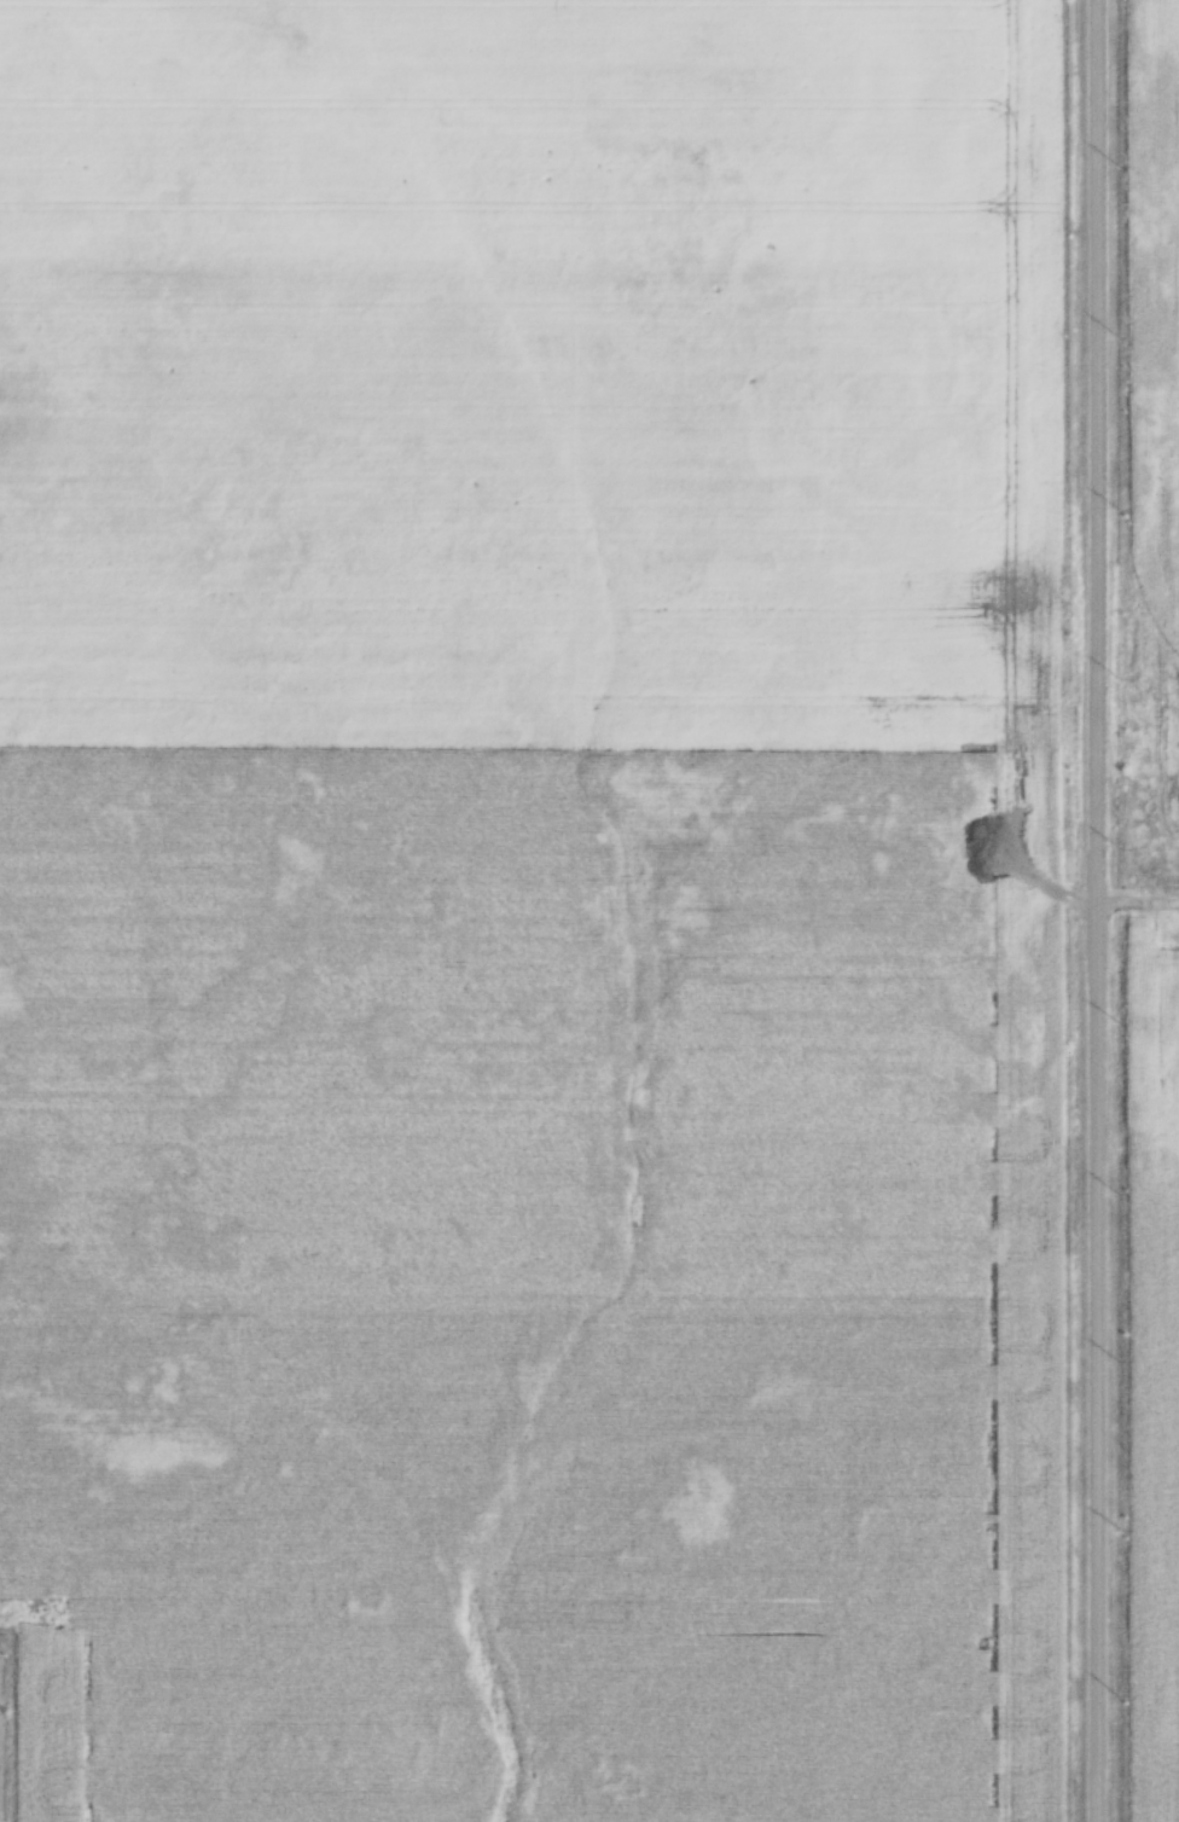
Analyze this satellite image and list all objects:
road: (1096, 911)

